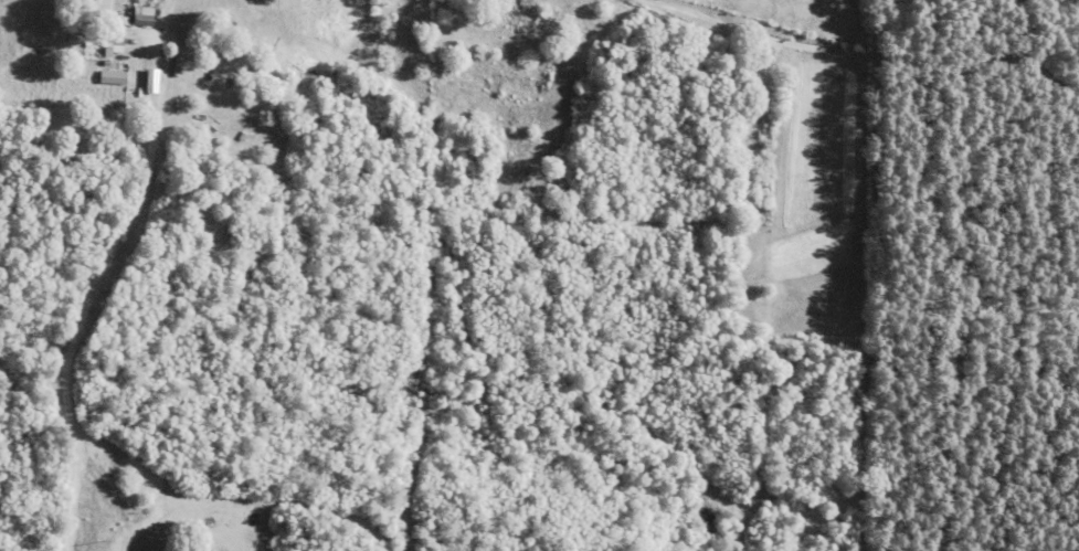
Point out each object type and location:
building: (112, 77)
building: (148, 82)
road: (129, 222)
road: (152, 477)
road: (73, 494)

